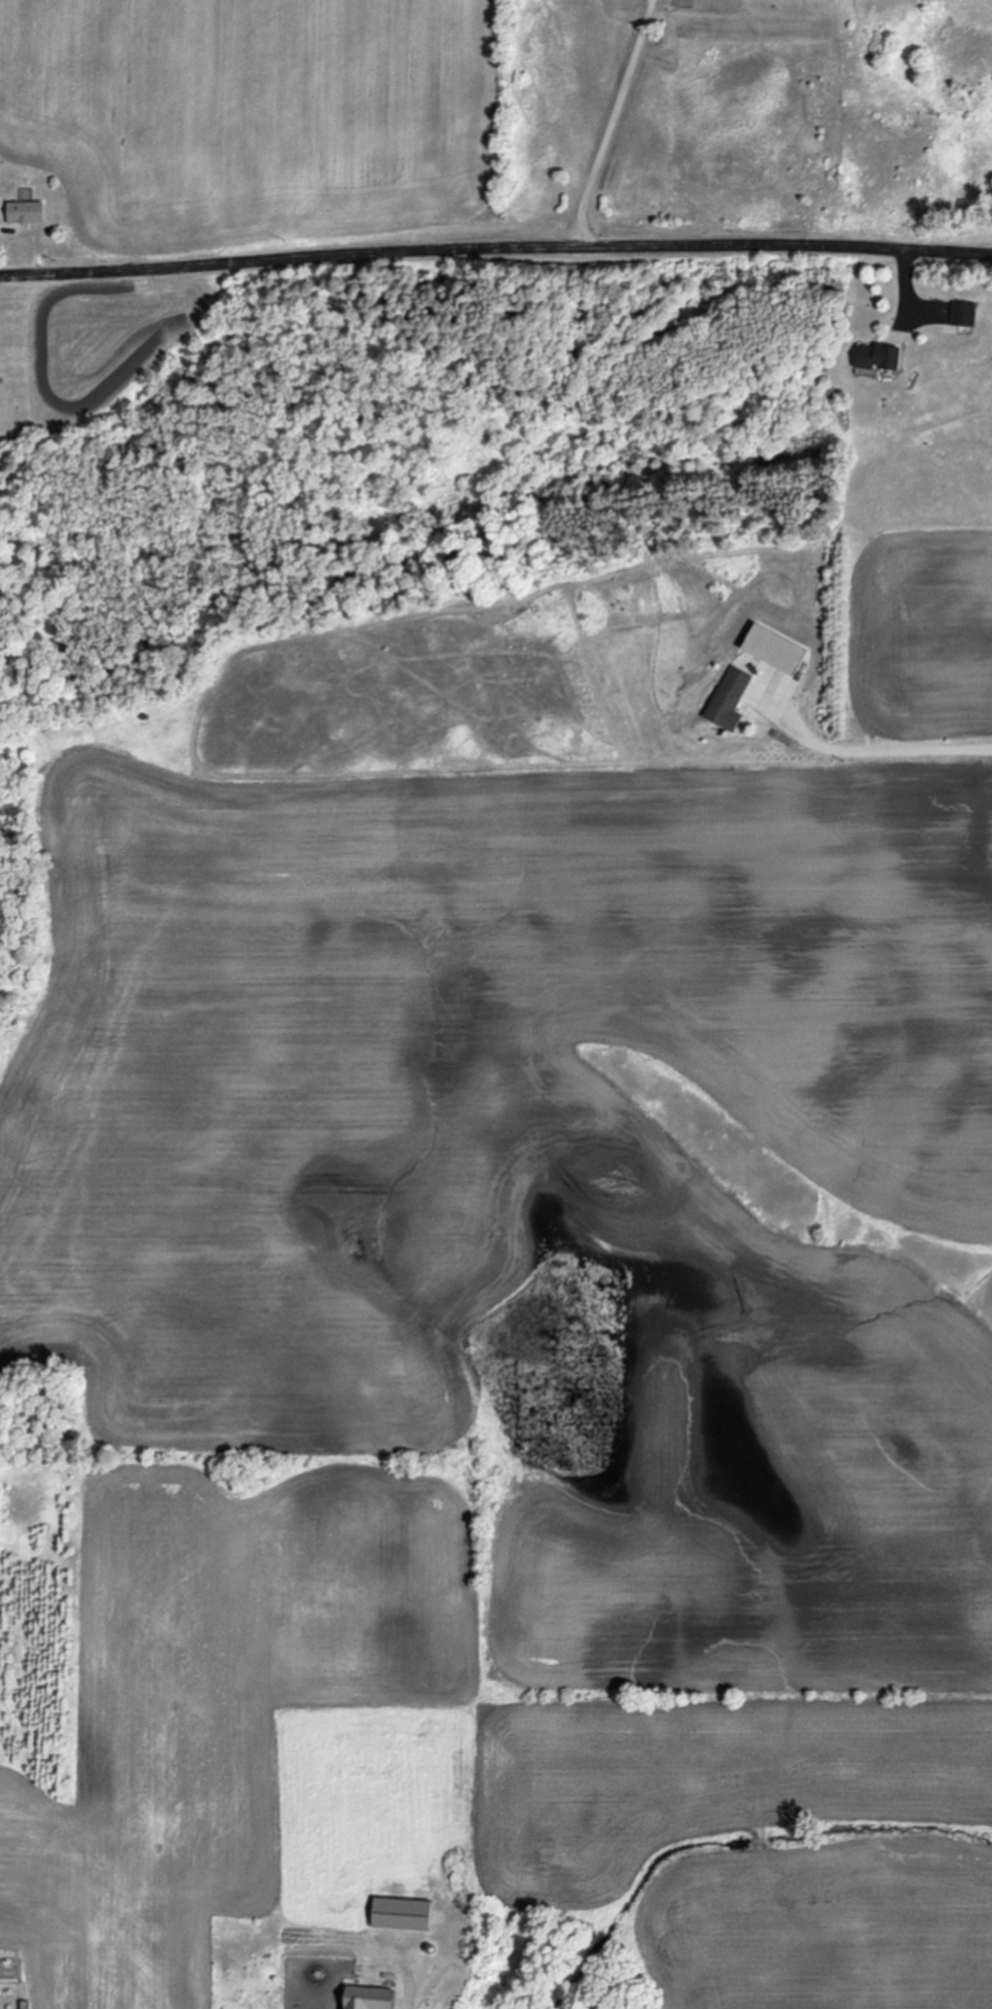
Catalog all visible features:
road: (611, 122)
building: (23, 212)
road: (495, 247)
road: (907, 279)
building: (961, 314)
building: (873, 358)
building: (768, 649)
building: (726, 699)
road: (871, 753)
building: (397, 1914)
building: (364, 1998)

